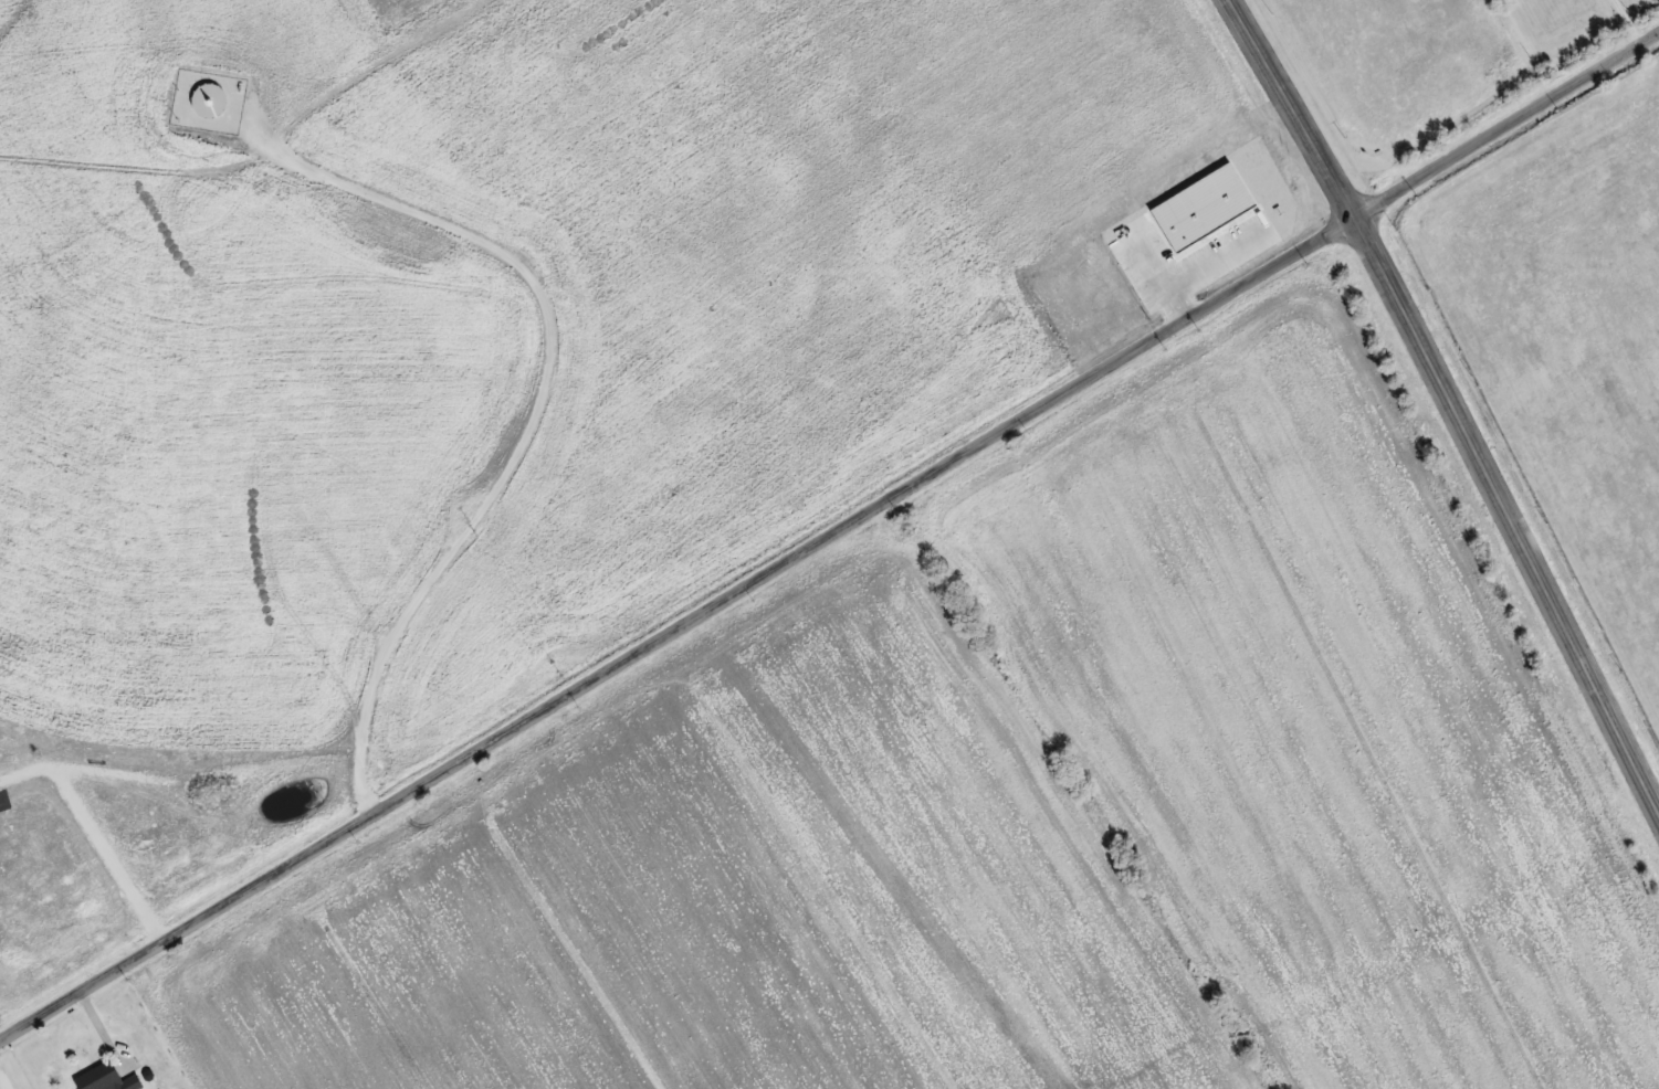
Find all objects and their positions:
building: (210, 98)
road: (1451, 402)
road: (829, 547)
building: (107, 1078)

